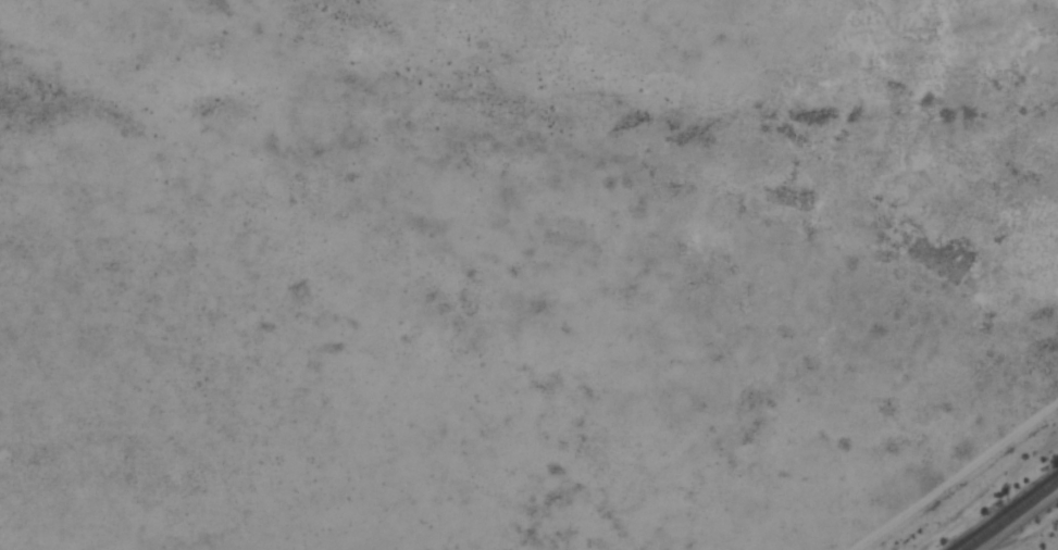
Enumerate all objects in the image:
railway: (1007, 513)

